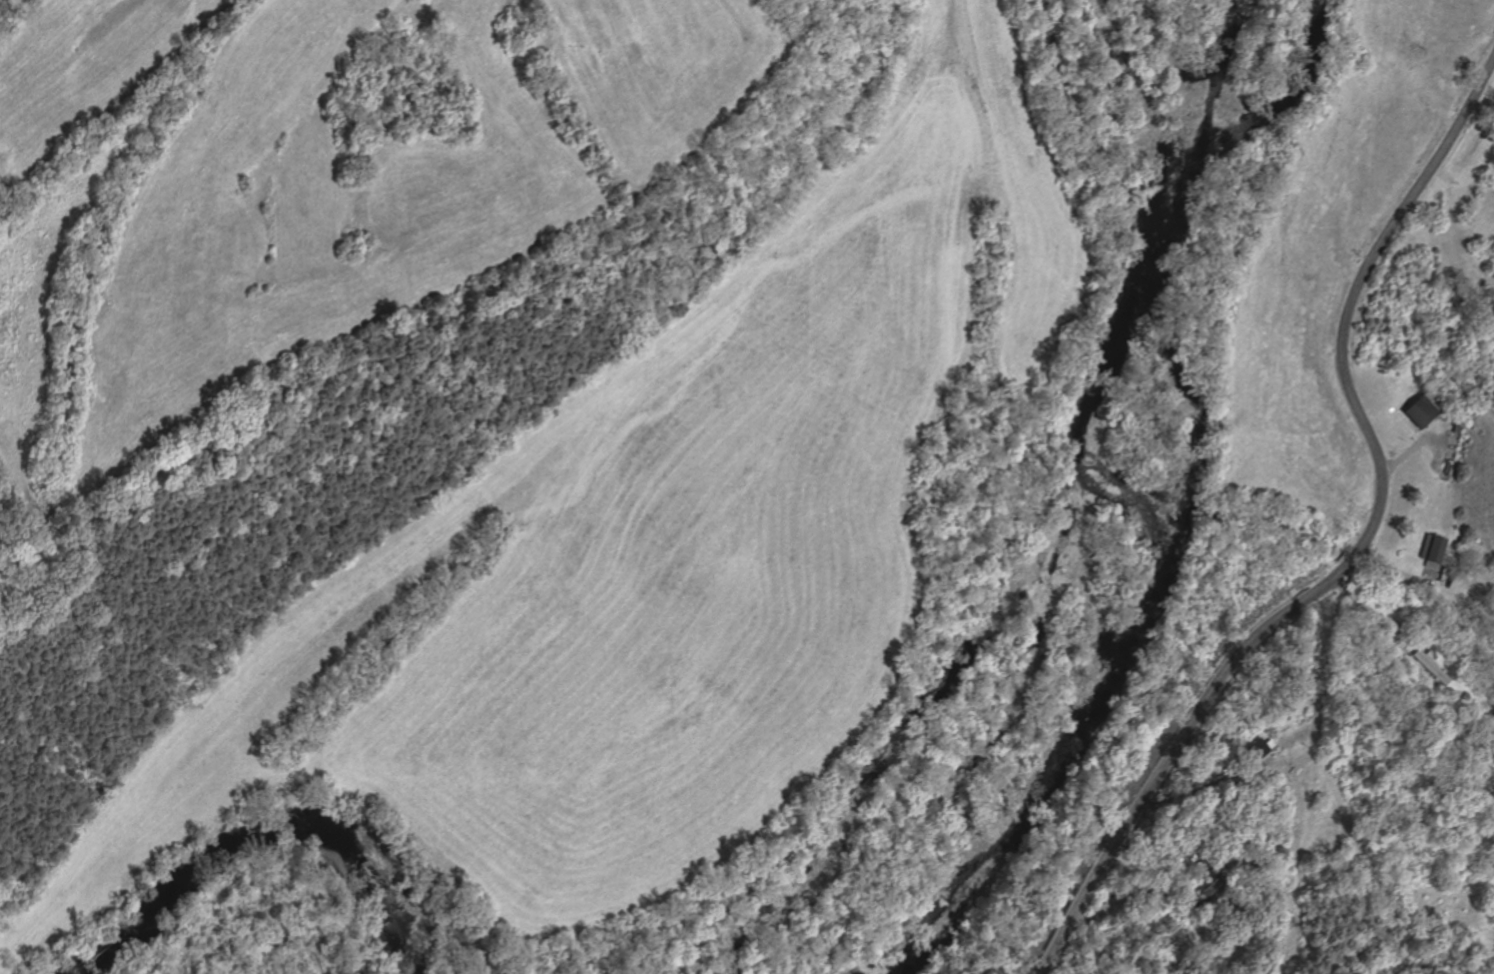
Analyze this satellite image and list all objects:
road: (1456, 228)
road: (373, 303)
building: (1424, 408)
road: (1409, 451)
road: (1360, 548)
building: (1433, 552)
road: (1393, 569)
road: (1464, 601)
road: (1370, 611)
building: (1430, 666)
building: (1465, 696)
building: (1256, 748)
road: (1190, 794)
building: (1169, 858)
building: (1211, 888)
road: (1141, 891)

